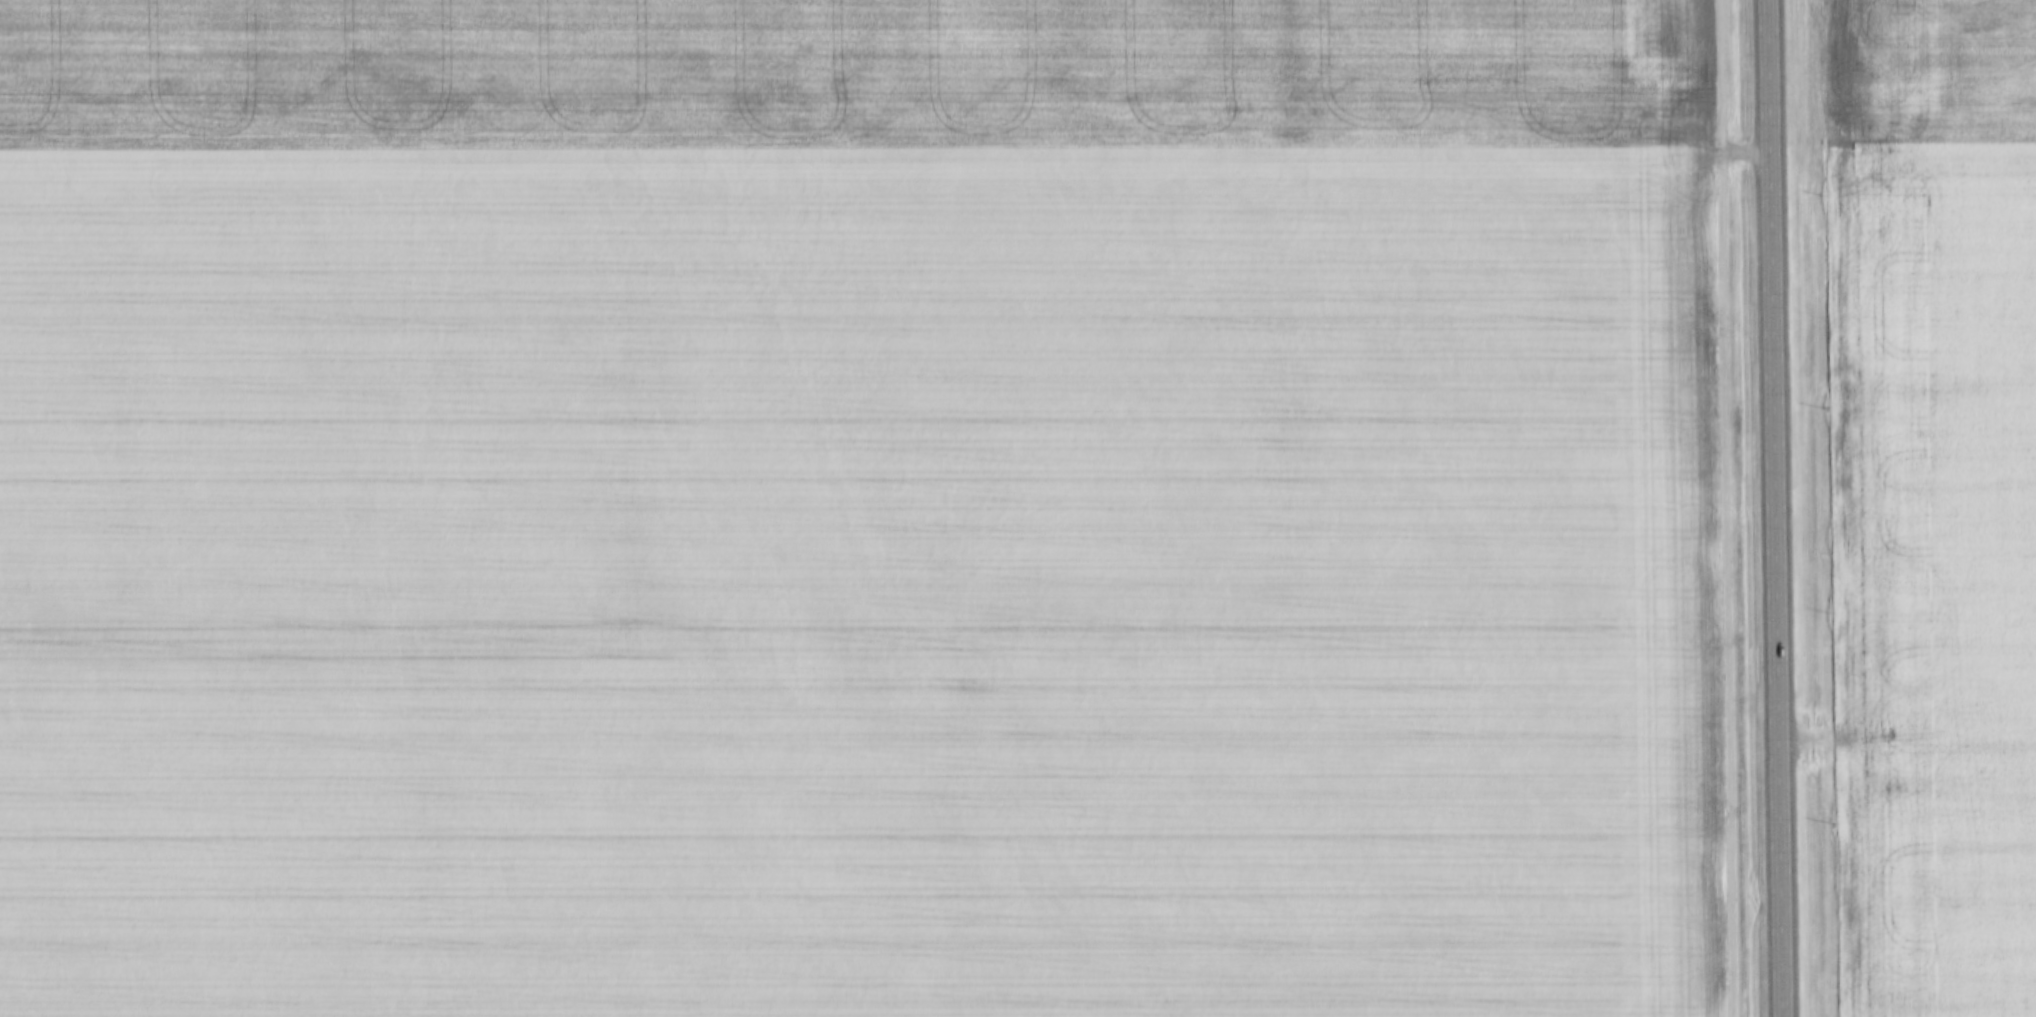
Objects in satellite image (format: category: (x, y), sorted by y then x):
road: (1774, 508)

